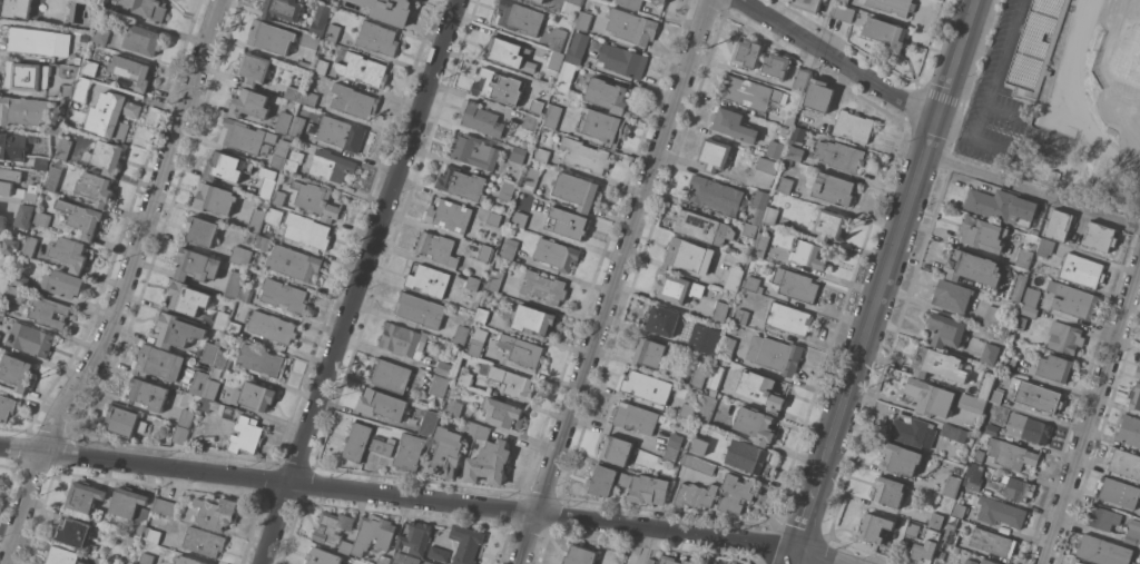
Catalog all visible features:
building: (541, 0)
building: (664, 1)
building: (844, 1)
building: (39, 3)
building: (632, 3)
building: (347, 4)
building: (808, 4)
building: (572, 6)
building: (894, 6)
building: (17, 8)
building: (392, 8)
building: (153, 9)
building: (283, 9)
building: (843, 12)
building: (520, 17)
building: (320, 18)
building: (584, 20)
building: (632, 26)
building: (333, 31)
building: (102, 32)
building: (886, 32)
building: (272, 36)
building: (379, 38)
building: (145, 39)
building: (558, 39)
building: (33, 40)
building: (311, 40)
building: (1034, 43)
building: (577, 48)
building: (508, 51)
building: (747, 53)
building: (78, 59)
building: (556, 59)
road: (836, 59)
building: (623, 60)
building: (305, 63)
building: (776, 65)
building: (321, 66)
building: (91, 67)
building: (254, 68)
building: (362, 68)
building: (131, 70)
building: (26, 76)
building: (314, 76)
building: (566, 76)
building: (800, 80)
building: (110, 81)
building: (499, 86)
building: (82, 88)
road: (987, 88)
building: (66, 91)
building: (544, 92)
building: (749, 92)
building: (293, 93)
building: (608, 95)
building: (819, 95)
building: (308, 98)
building: (354, 100)
building: (249, 103)
building: (23, 109)
road: (1004, 111)
building: (112, 115)
building: (552, 116)
building: (480, 118)
building: (284, 121)
building: (531, 122)
building: (733, 123)
building: (854, 125)
building: (55, 126)
building: (296, 126)
building: (601, 126)
building: (828, 128)
building: (343, 133)
building: (798, 133)
building: (246, 137)
building: (33, 138)
road: (992, 145)
building: (12, 146)
building: (63, 148)
building: (775, 149)
building: (474, 150)
building: (794, 152)
building: (518, 154)
building: (714, 154)
building: (542, 155)
building: (586, 155)
building: (106, 156)
building: (842, 156)
building: (279, 158)
building: (293, 160)
building: (787, 161)
building: (41, 162)
building: (331, 165)
building: (767, 165)
building: (227, 167)
building: (53, 178)
building: (530, 179)
building: (10, 181)
building: (461, 182)
building: (786, 185)
building: (96, 188)
building: (266, 188)
building: (834, 188)
building: (507, 189)
building: (577, 190)
road: (1032, 190)
building: (716, 195)
building: (30, 196)
building: (279, 197)
building: (215, 198)
building: (316, 199)
building: (759, 205)
building: (1002, 205)
building: (26, 215)
building: (450, 215)
building: (770, 215)
building: (274, 216)
building: (42, 217)
building: (81, 217)
building: (493, 218)
building: (256, 219)
building: (520, 219)
building: (567, 221)
building: (2, 222)
building: (828, 225)
building: (1059, 225)
building: (702, 227)
building: (749, 229)
building: (202, 230)
building: (306, 230)
building: (982, 232)
building: (1100, 236)
road: (896, 238)
building: (264, 243)
building: (760, 244)
building: (10, 245)
building: (30, 246)
building: (1045, 247)
building: (438, 248)
building: (510, 248)
building: (69, 253)
building: (485, 253)
building: (557, 254)
building: (809, 254)
building: (240, 255)
building: (688, 256)
building: (1024, 257)
building: (294, 263)
building: (196, 265)
building: (973, 267)
building: (1082, 270)
building: (734, 278)
building: (429, 279)
building: (494, 279)
building: (20, 280)
road: (362, 281)
road: (612, 281)
building: (473, 283)
building: (63, 284)
building: (234, 284)
building: (795, 284)
building: (544, 286)
building: (757, 286)
building: (3, 287)
road: (125, 287)
building: (678, 287)
building: (1018, 287)
building: (16, 294)
building: (244, 294)
building: (953, 295)
building: (284, 296)
building: (1031, 296)
building: (188, 297)
building: (1073, 299)
building: (420, 309)
building: (1028, 309)
building: (720, 311)
building: (49, 313)
building: (482, 315)
building: (741, 316)
building: (992, 316)
building: (789, 318)
building: (532, 319)
building: (662, 319)
building: (222, 320)
building: (1019, 321)
building: (272, 326)
building: (233, 327)
building: (947, 330)
building: (177, 332)
building: (461, 334)
building: (0, 336)
building: (1064, 337)
building: (704, 338)
building: (31, 339)
building: (403, 339)
building: (478, 340)
building: (727, 347)
building: (522, 350)
building: (210, 352)
building: (650, 352)
building: (990, 353)
building: (776, 354)
building: (223, 359)
building: (262, 360)
building: (1010, 360)
building: (158, 362)
building: (940, 364)
building: (1055, 367)
building: (444, 368)
building: (1138, 369)
building: (17, 372)
building: (390, 375)
building: (698, 376)
building: (716, 376)
building: (465, 378)
building: (512, 382)
building: (199, 383)
building: (440, 385)
building: (985, 385)
building: (647, 386)
building: (212, 389)
building: (761, 389)
building: (149, 393)
building: (996, 394)
building: (255, 395)
building: (1034, 395)
building: (1134, 395)
building: (930, 397)
building: (972, 402)
building: (382, 403)
building: (206, 404)
building: (7, 406)
building: (455, 407)
building: (707, 408)
building: (687, 409)
building: (501, 412)
building: (229, 413)
building: (635, 416)
building: (186, 417)
road: (1090, 418)
building: (126, 422)
building: (429, 423)
building: (756, 424)
building: (471, 427)
building: (1028, 427)
building: (992, 428)
building: (1129, 429)
building: (483, 432)
building: (913, 432)
building: (953, 432)
building: (180, 434)
building: (246, 435)
building: (675, 439)
building: (357, 441)
building: (383, 444)
building: (616, 449)
building: (696, 449)
building: (410, 452)
building: (446, 453)
building: (671, 453)
building: (976, 453)
building: (1011, 453)
building: (747, 455)
building: (901, 458)
building: (1124, 462)
building: (490, 463)
building: (698, 464)
building: (625, 478)
building: (602, 481)
building: (971, 483)
building: (952, 485)
building: (649, 488)
building: (1018, 488)
building: (890, 491)
building: (1119, 492)
building: (735, 493)
building: (696, 495)
road: (420, 496)
building: (87, 498)
building: (127, 501)
building: (166, 506)
building: (959, 509)
building: (1000, 511)
building: (216, 512)
road: (808, 515)
building: (1102, 517)
building: (936, 520)
building: (140, 521)
building: (333, 526)
building: (875, 526)
building: (912, 530)
building: (75, 532)
building: (373, 532)
building: (1133, 532)
building: (153, 534)
building: (125, 536)
building: (951, 536)
building: (415, 537)
building: (205, 541)
building: (992, 542)
building: (466, 543)
building: (346, 546)
building: (926, 546)
building: (955, 548)
building: (1103, 551)
building: (438, 553)
building: (942, 554)
building: (63, 555)
building: (580, 555)
building: (323, 556)
building: (399, 557)
road: (795, 557)
building: (147, 558)
building: (188, 560)
building: (384, 560)
building: (651, 561)
building: (672, 561)
building: (970, 561)
building: (987, 561)
building: (430, 562)
building: (1078, 562)
building: (706, 563)
building: (717, 563)
building: (1131, 563)
building: (1136, 563)

